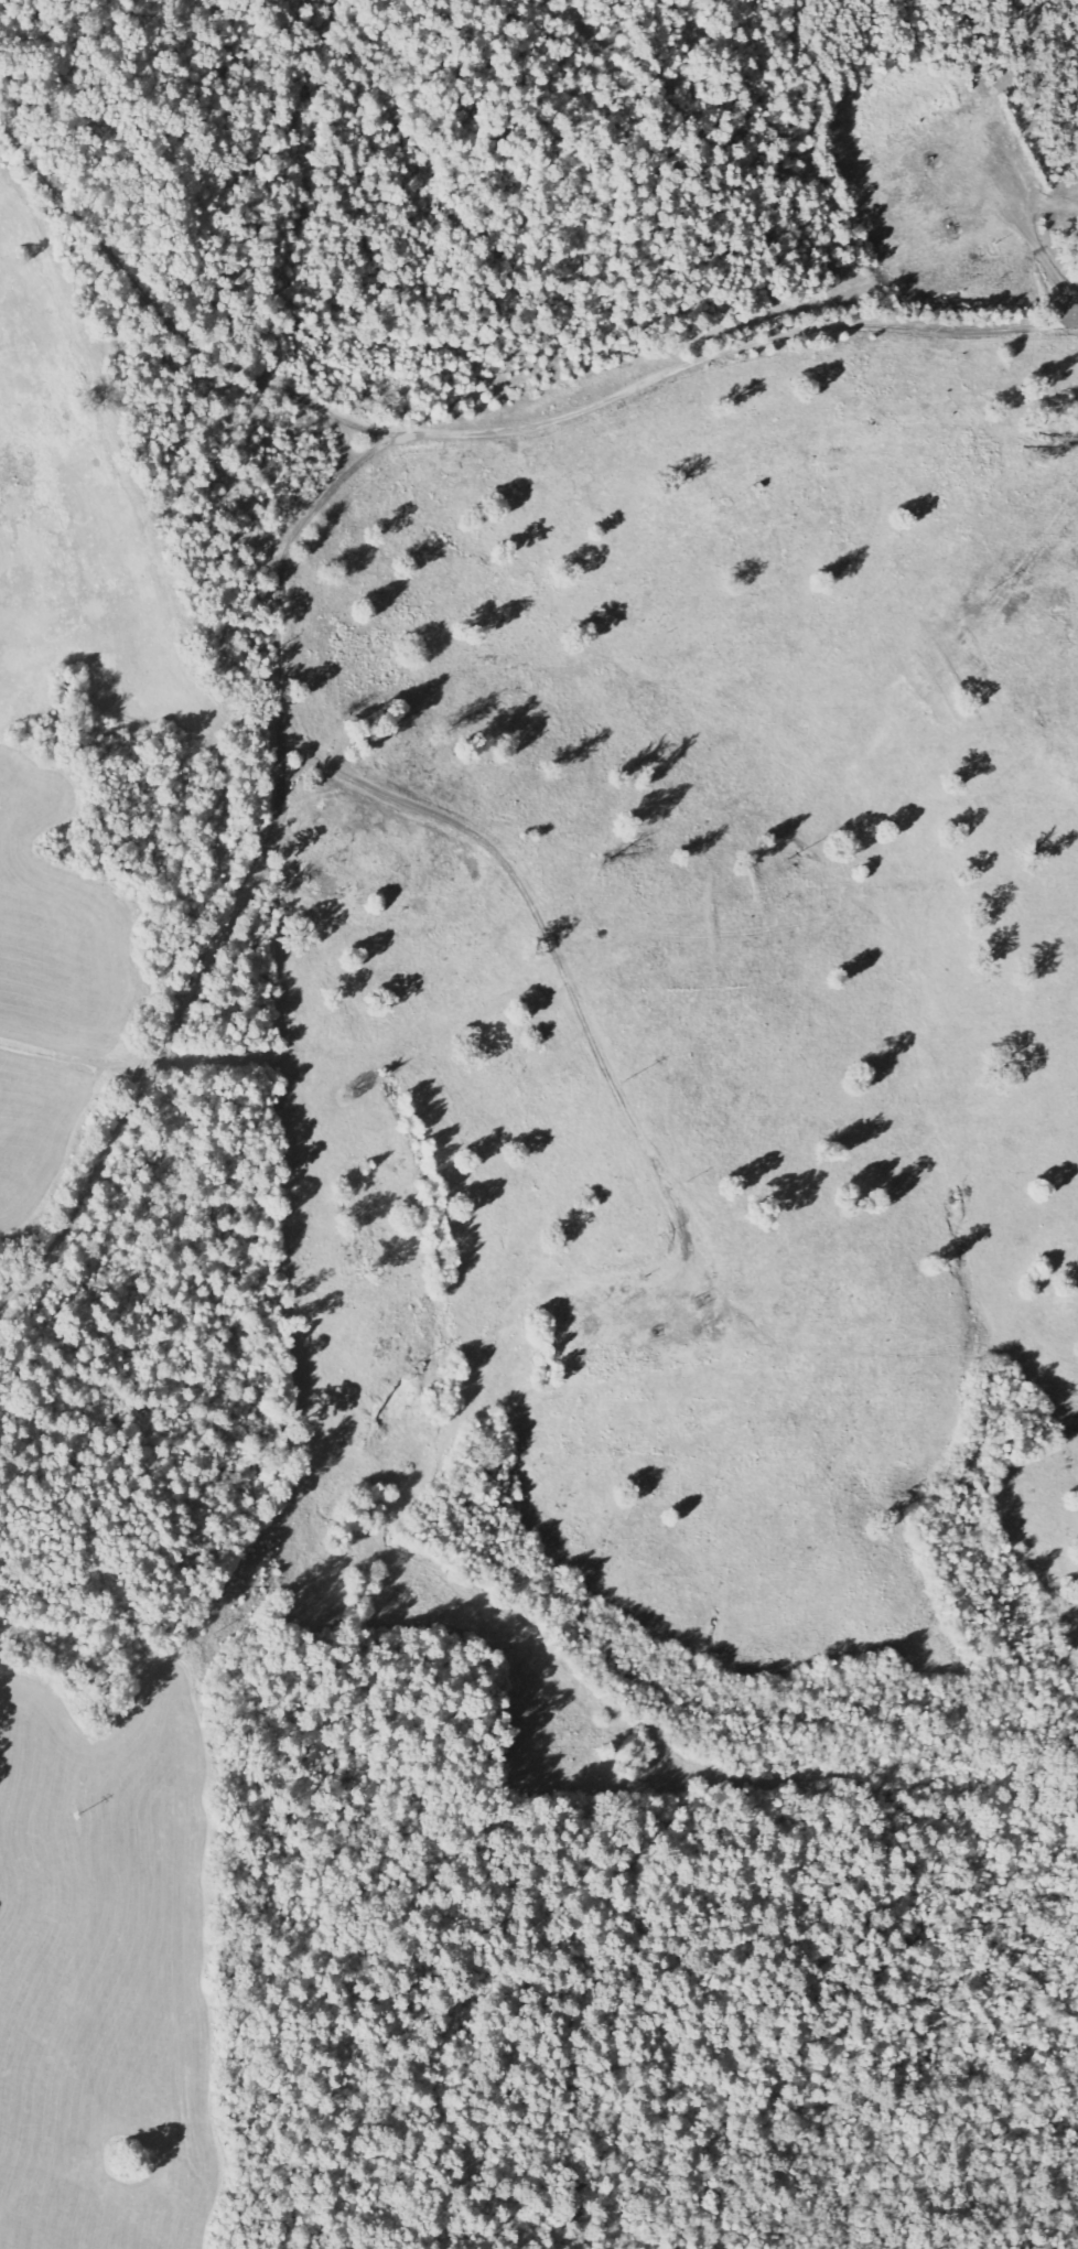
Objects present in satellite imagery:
road: (487, 431)
road: (248, 873)
road: (71, 1057)

